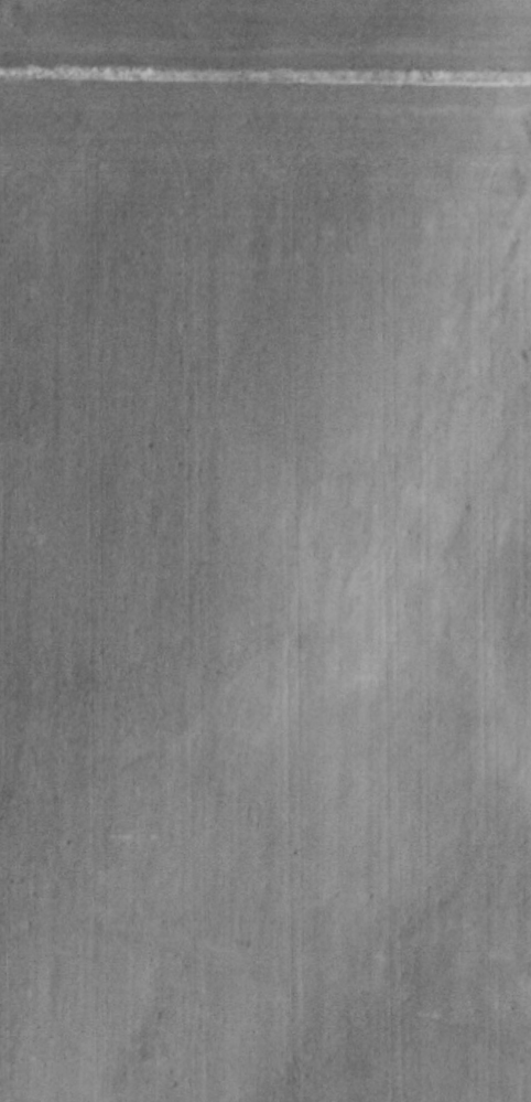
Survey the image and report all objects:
road: (83, 926)

